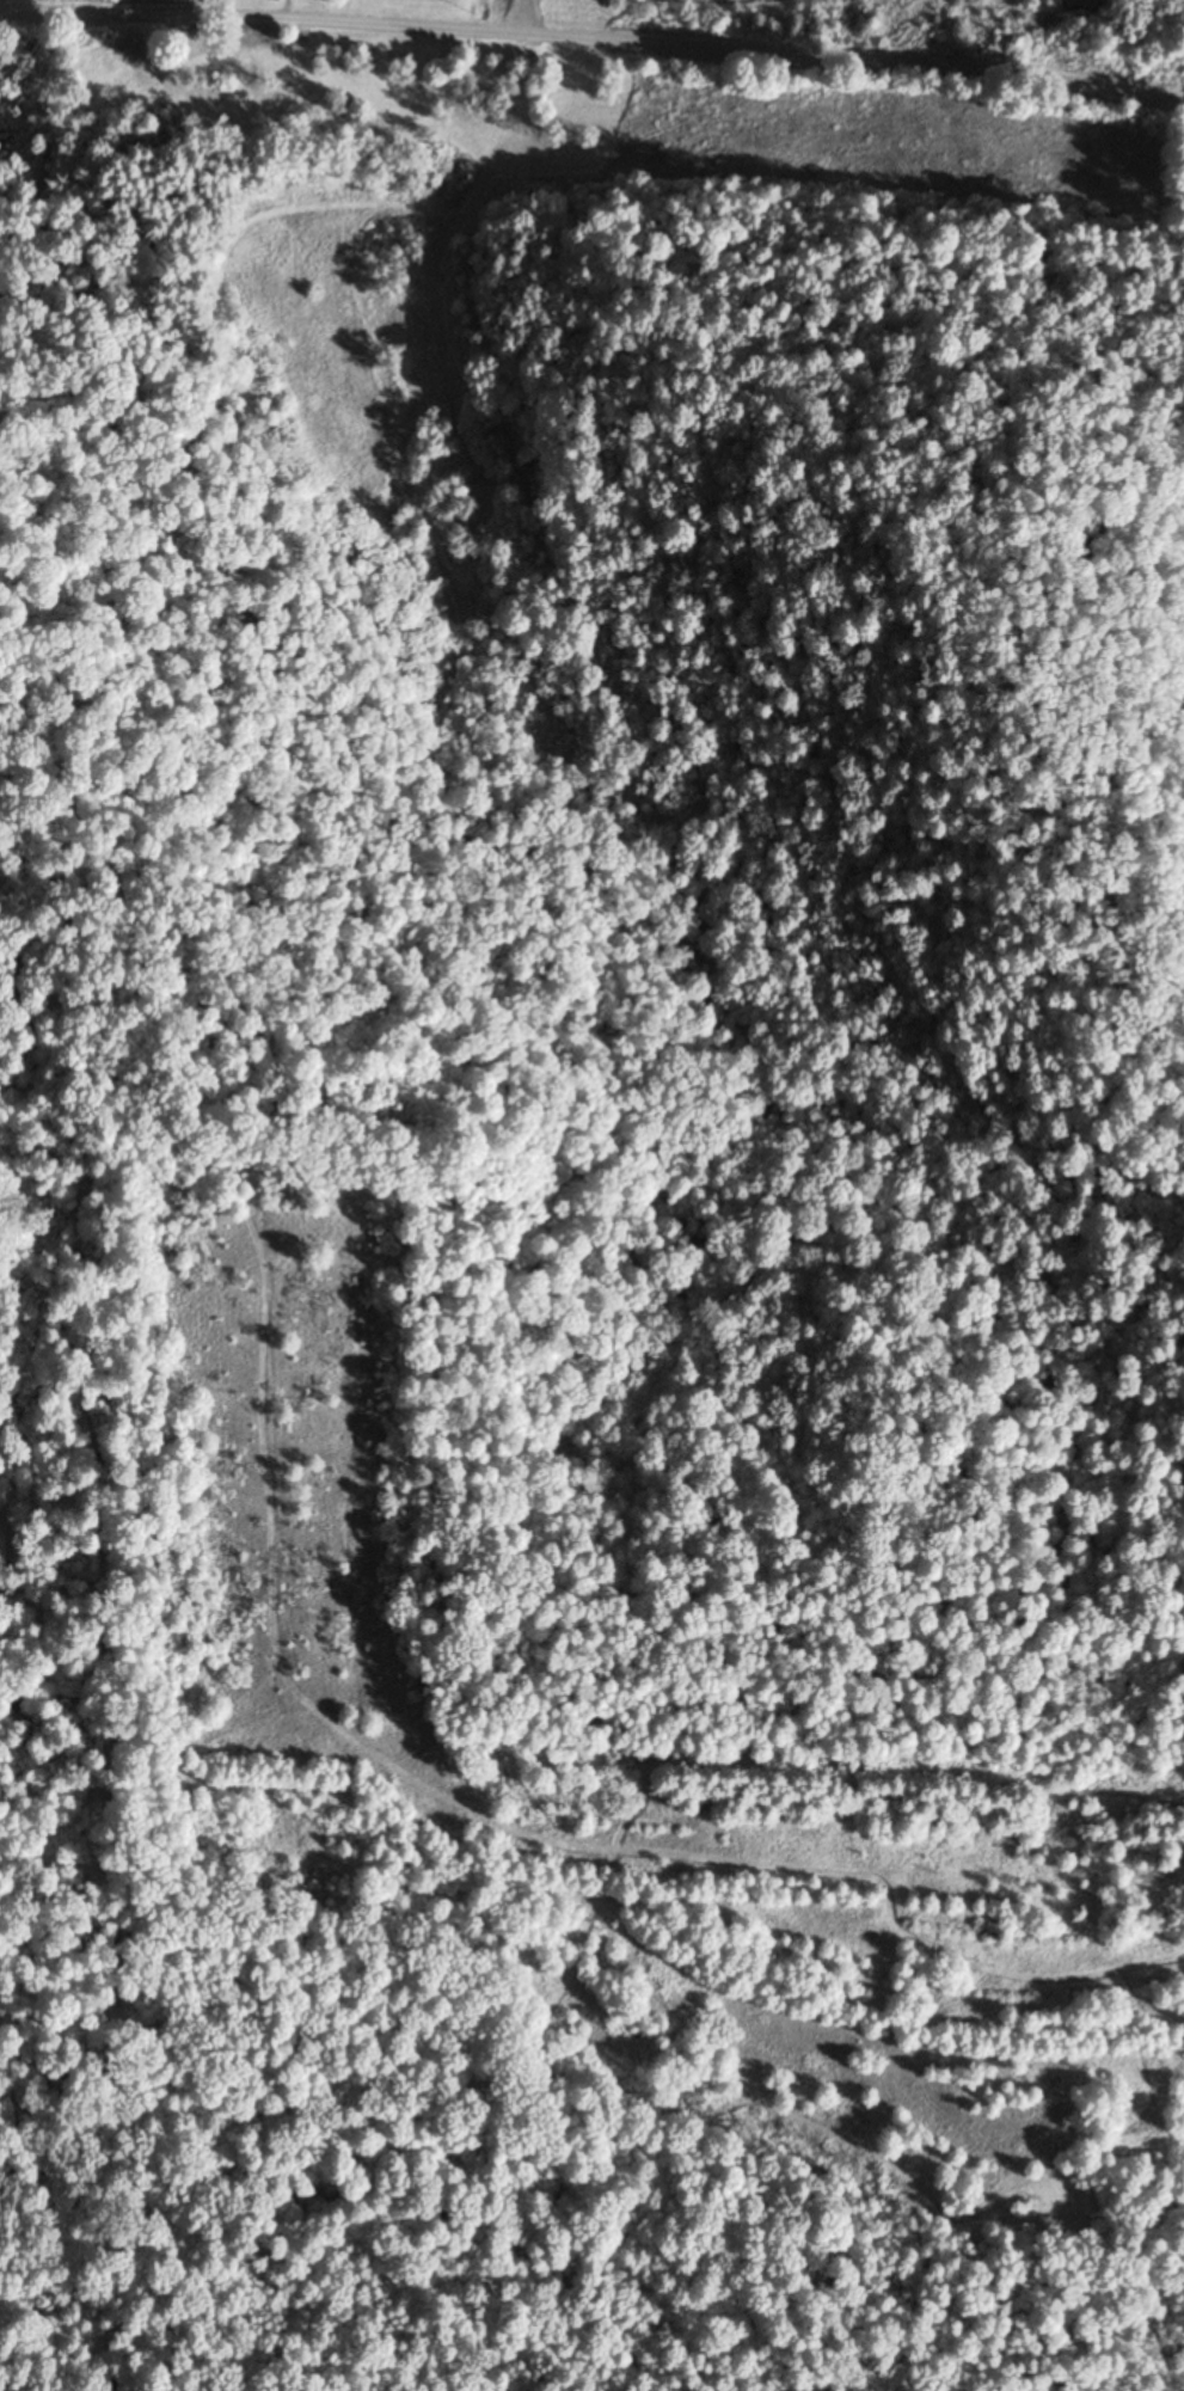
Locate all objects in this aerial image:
road: (593, 39)
building: (200, 103)

